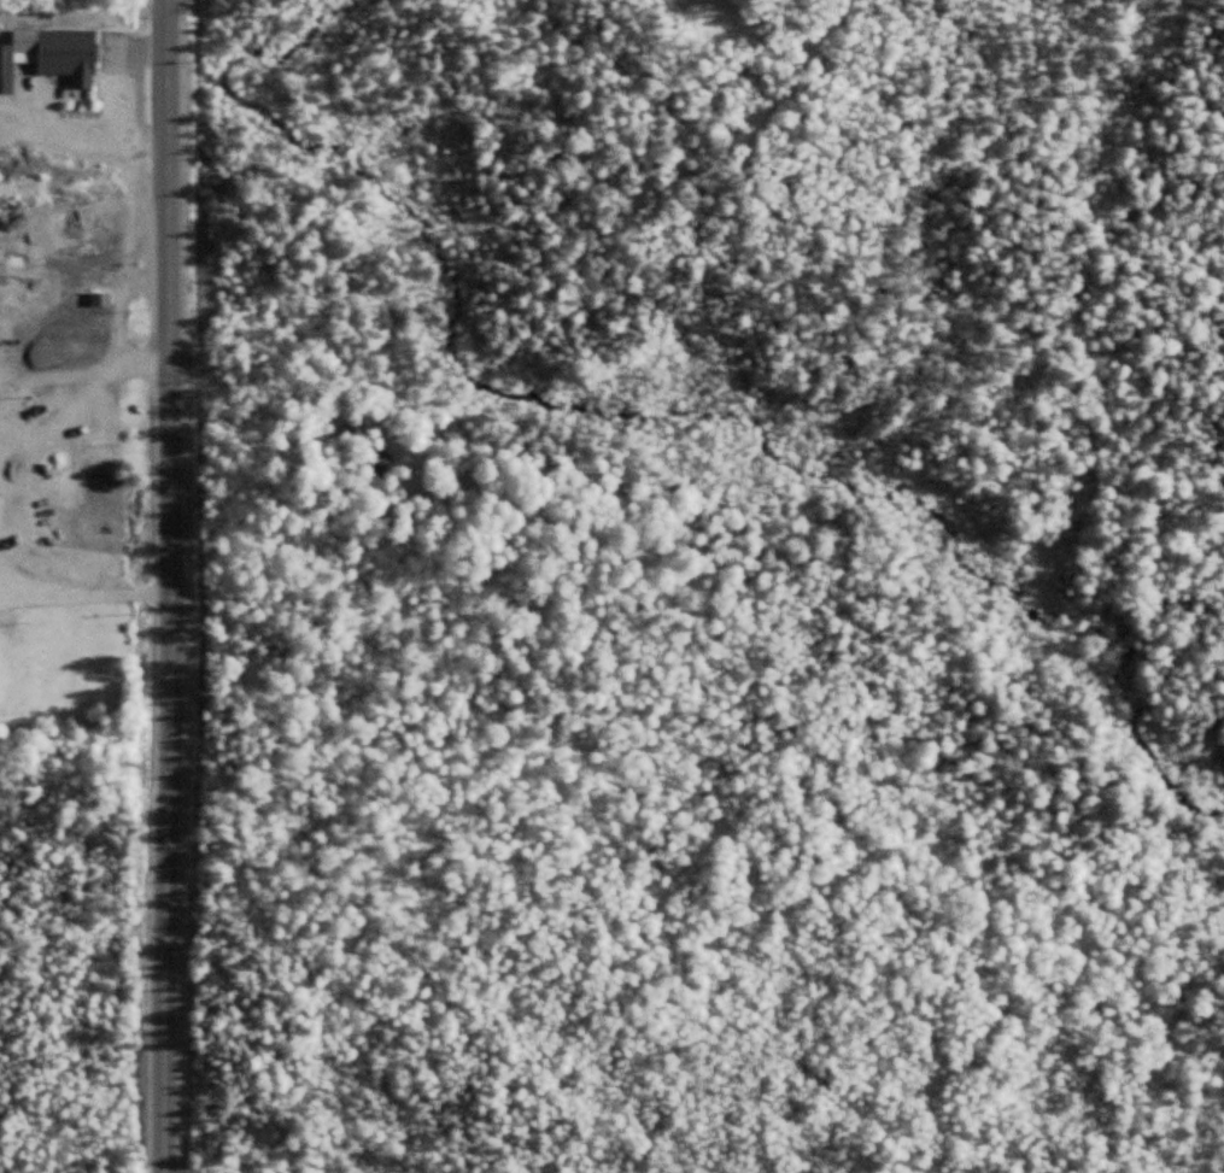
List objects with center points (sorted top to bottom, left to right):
building: (51, 55)
building: (99, 299)
road: (70, 428)
building: (374, 463)
road: (87, 586)
road: (175, 586)

